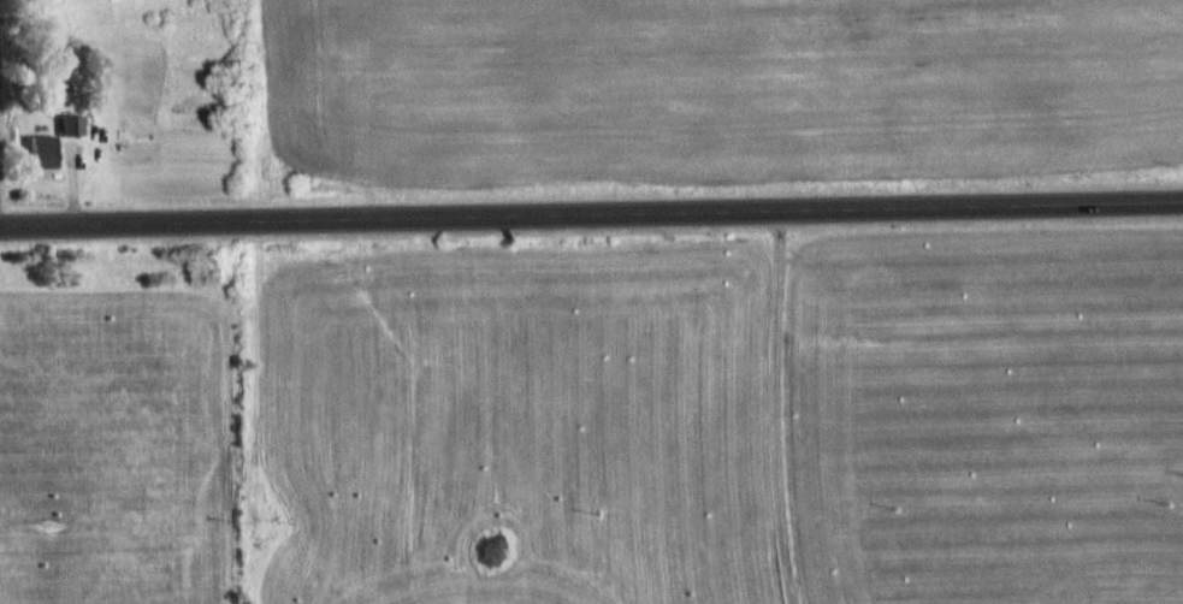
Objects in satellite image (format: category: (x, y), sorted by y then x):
building: (73, 124)
building: (45, 152)
road: (591, 212)
road: (771, 408)

